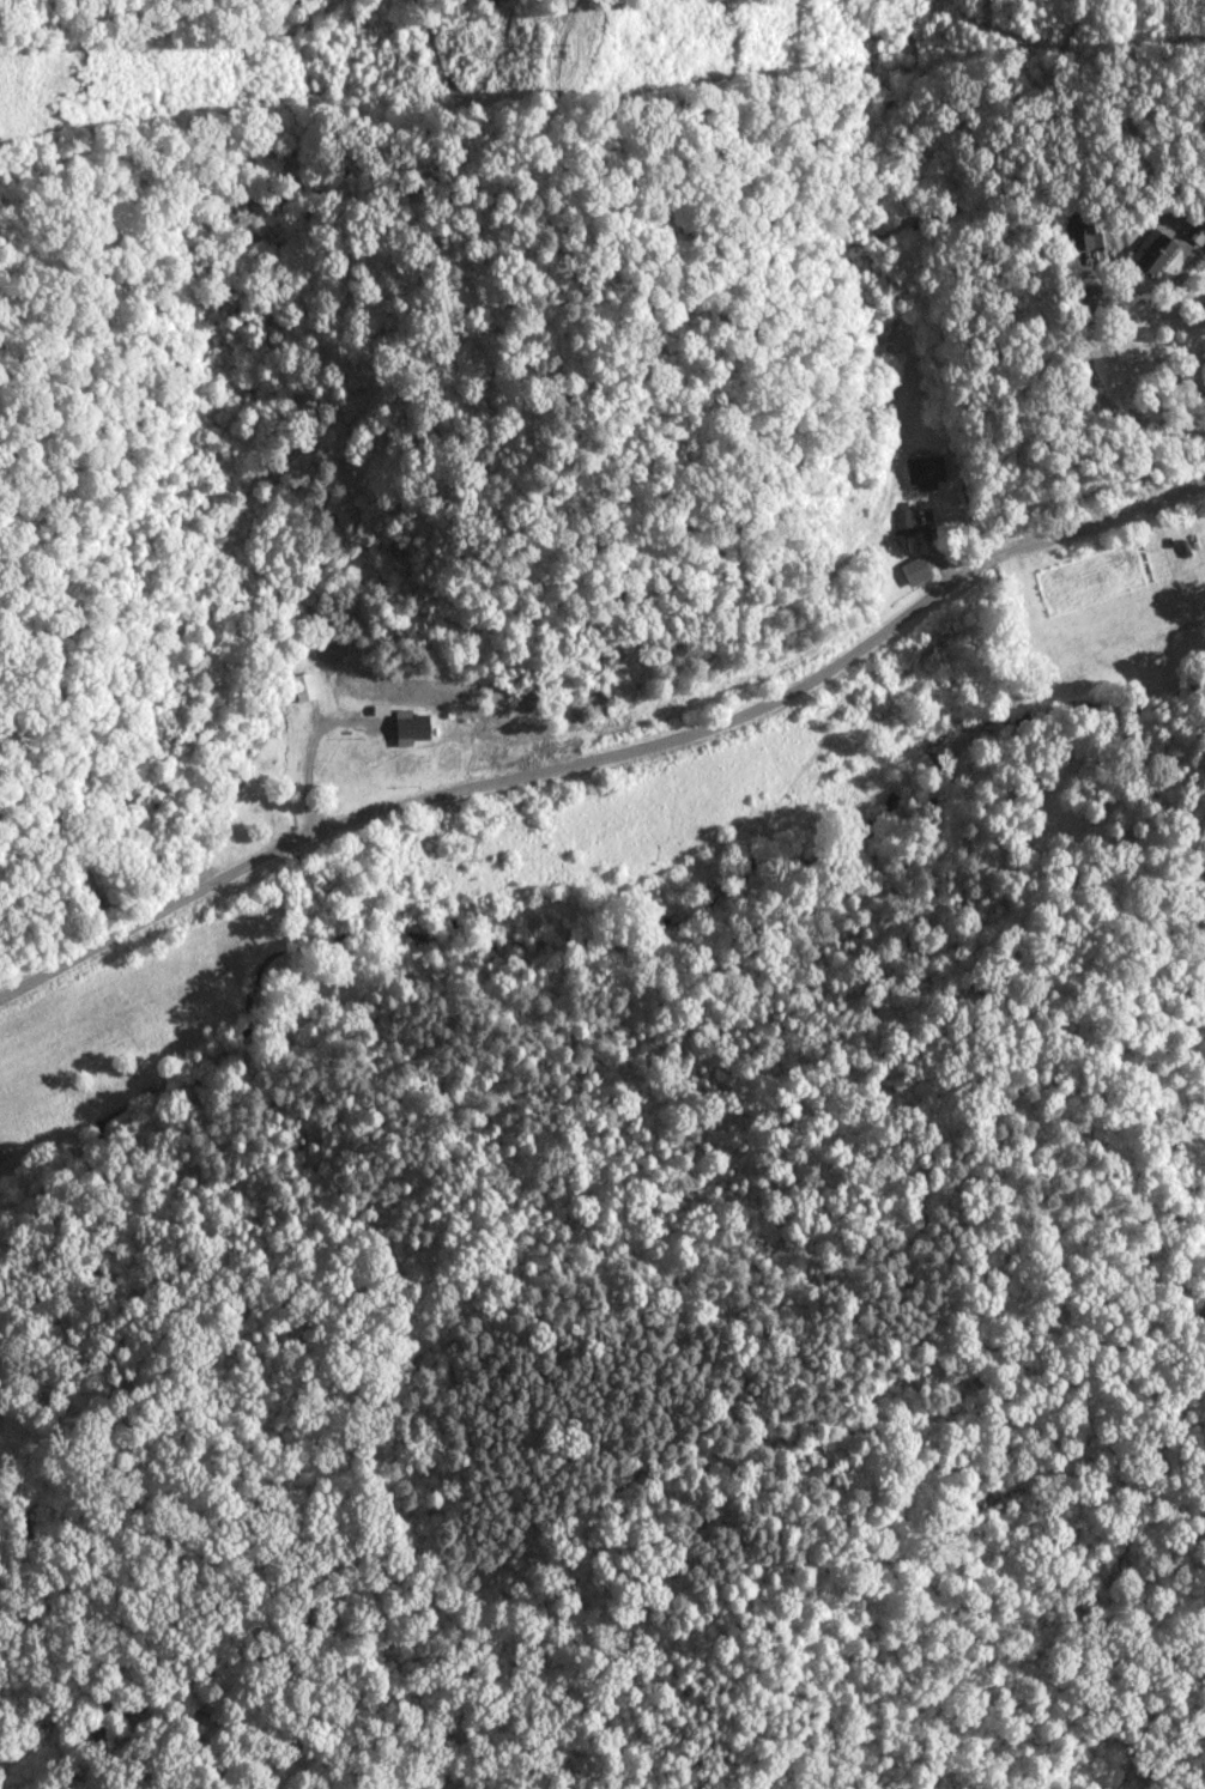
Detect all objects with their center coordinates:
power tower: (568, 51)
building: (1084, 231)
building: (1199, 236)
road: (710, 390)
building: (927, 473)
building: (906, 518)
building: (305, 687)
building: (413, 728)
road: (611, 753)

